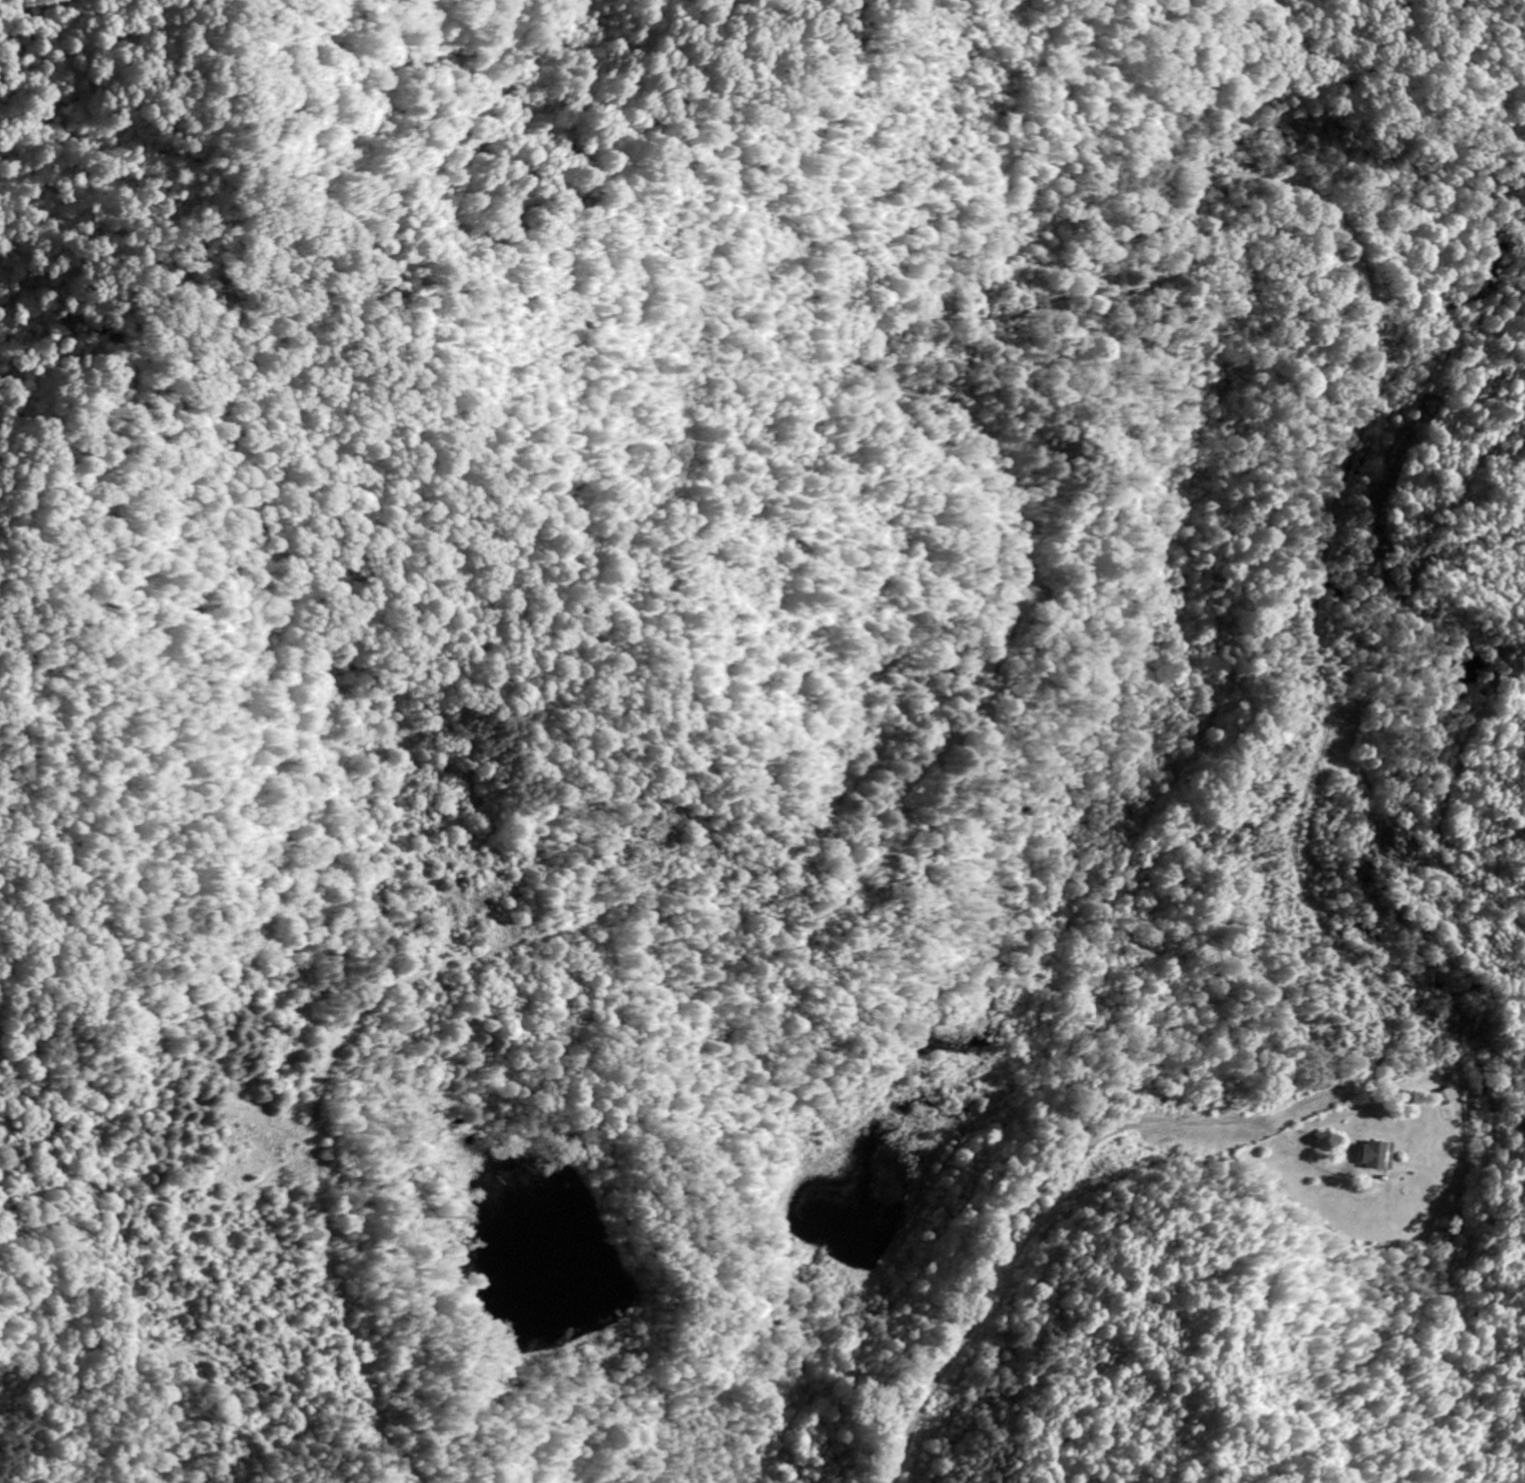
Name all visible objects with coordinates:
building: (1452, 1095)
building: (1377, 1156)

